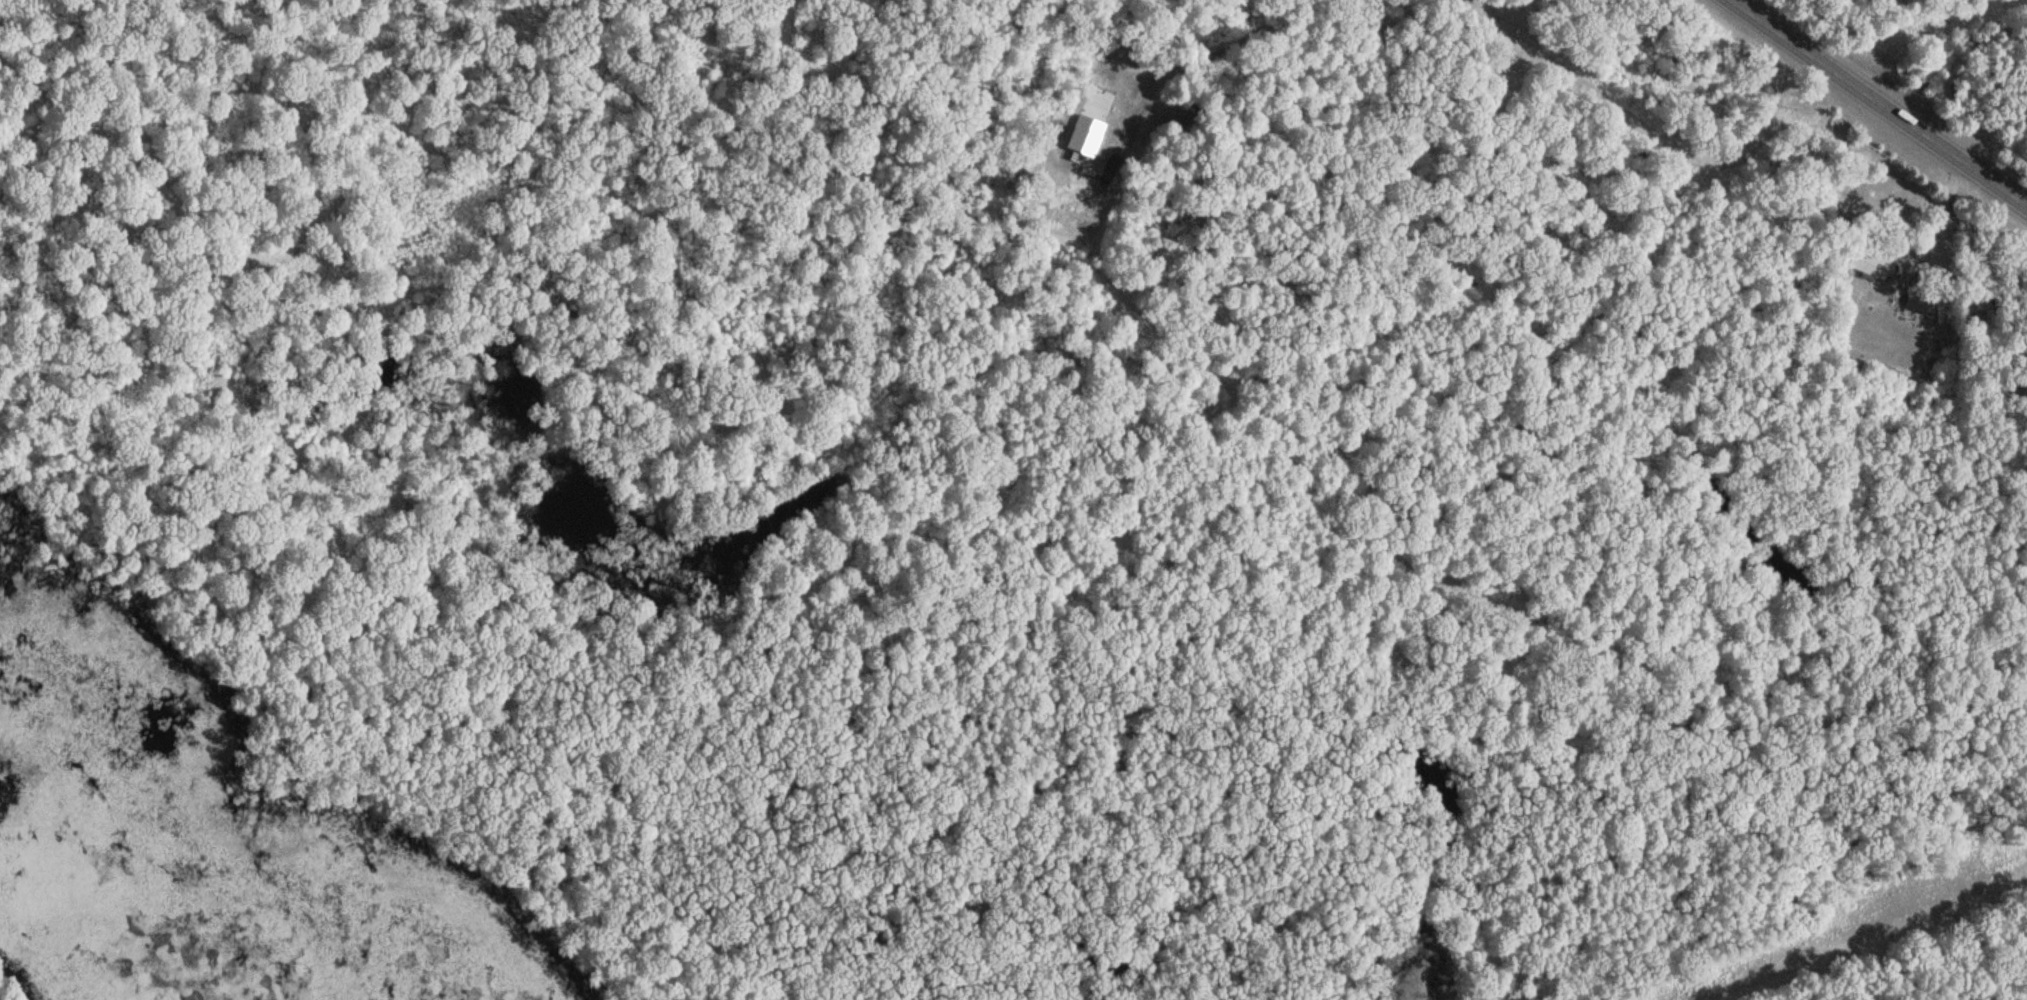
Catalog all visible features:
road: (1923, 23)
road: (1877, 105)
building: (1917, 304)

